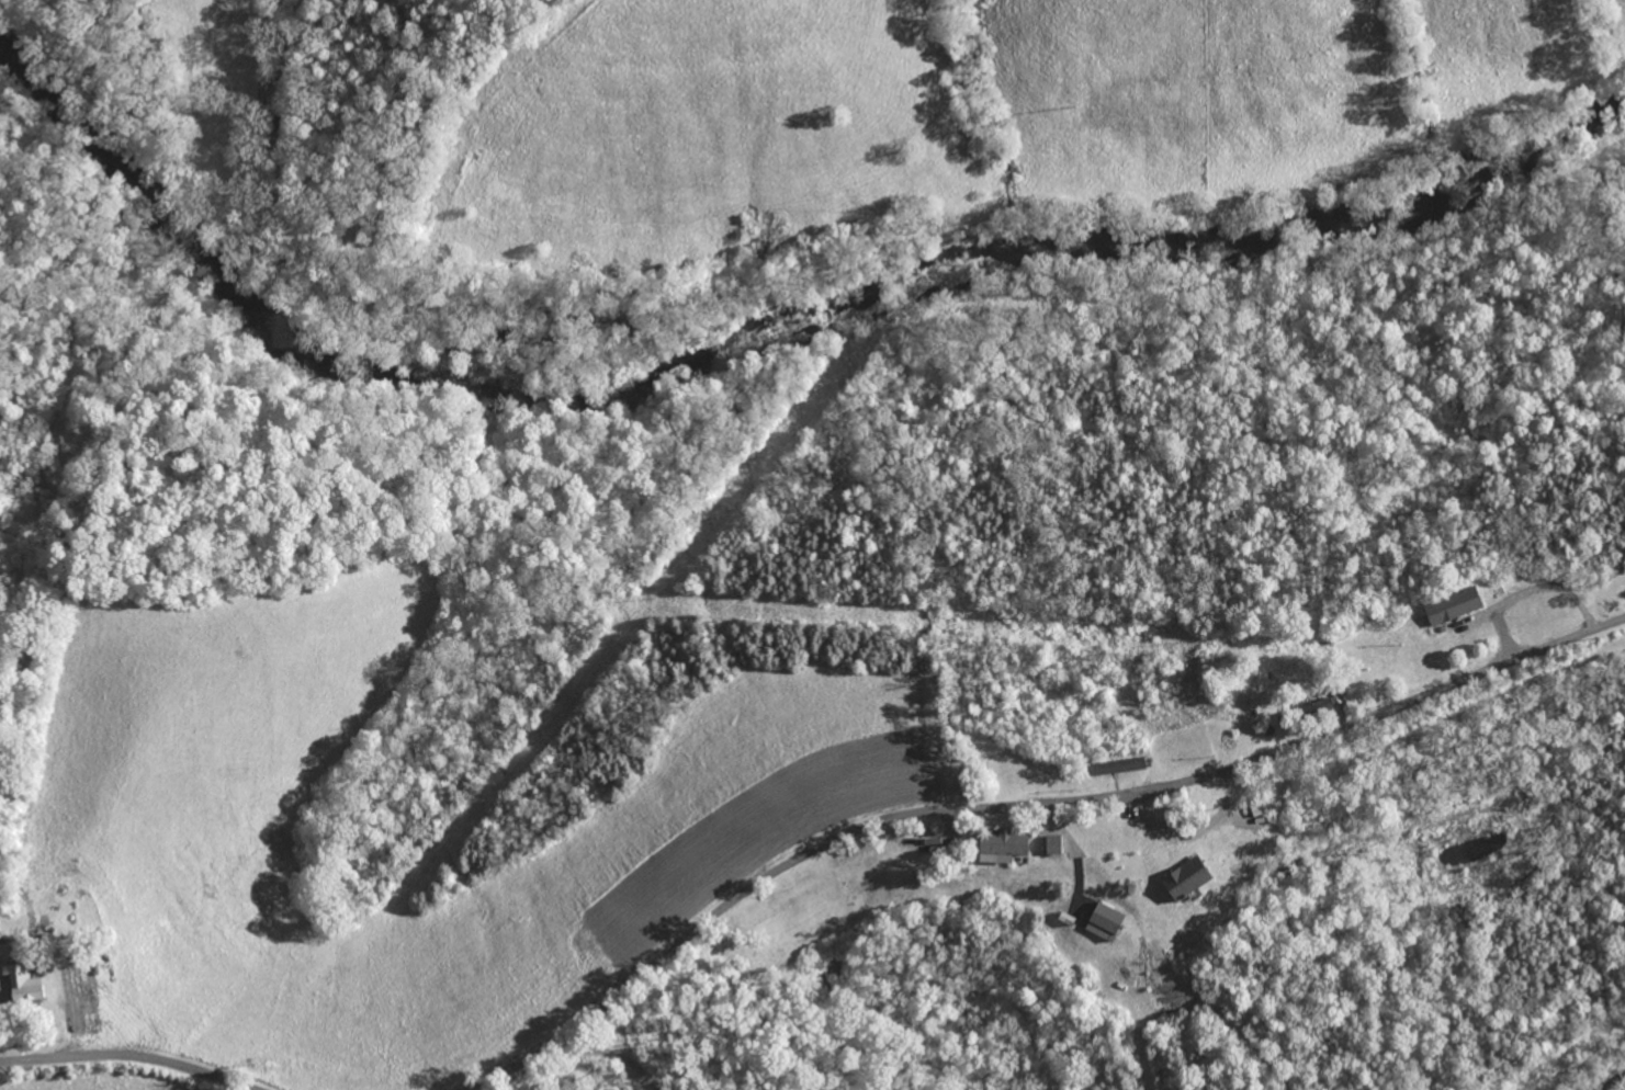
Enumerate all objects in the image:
road: (1525, 589)
building: (1447, 606)
building: (1314, 712)
building: (1113, 767)
road: (1019, 806)
building: (1049, 844)
building: (998, 847)
building: (1181, 879)
building: (1098, 922)
building: (19, 983)
road: (610, 1056)
road: (126, 1057)

